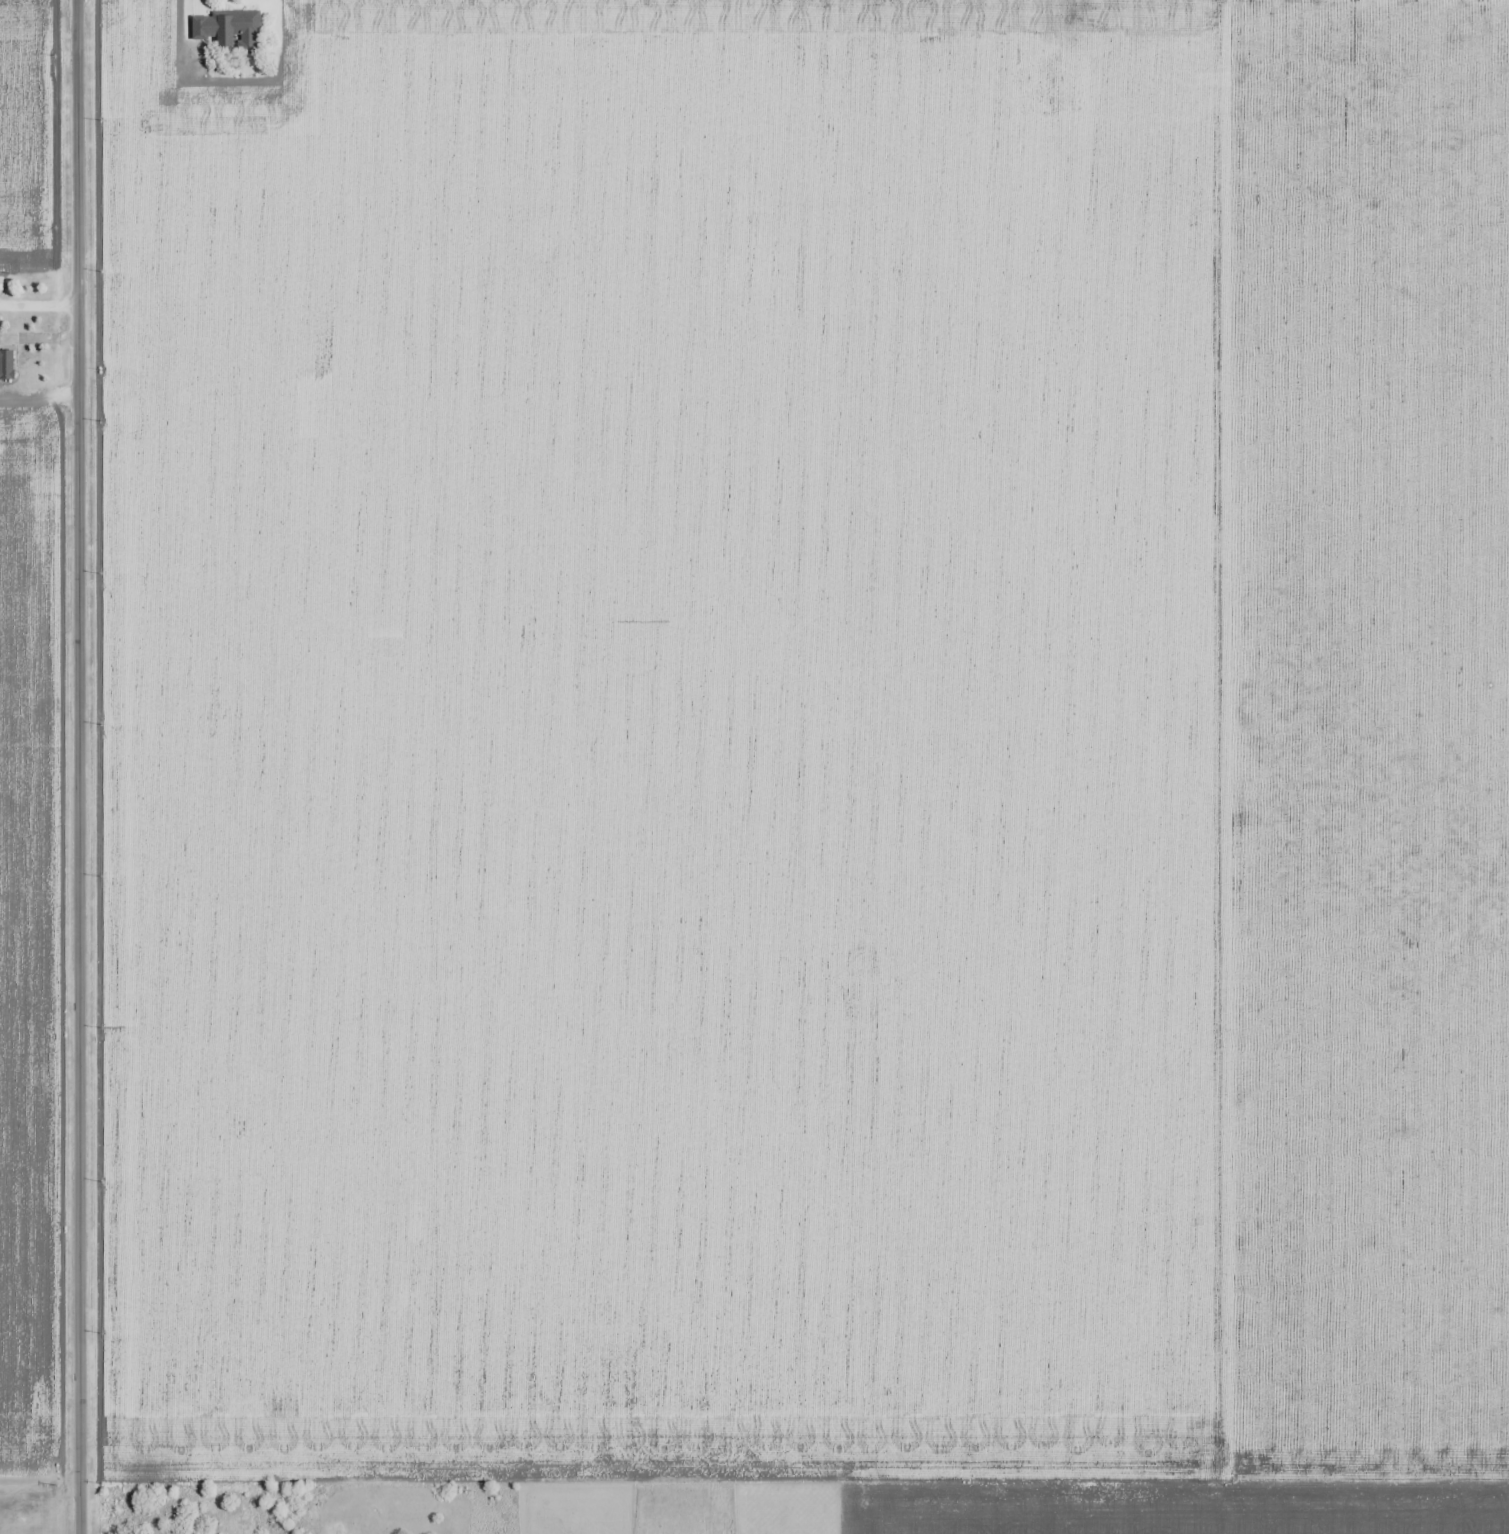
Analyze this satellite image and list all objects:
building: (239, 26)
building: (1, 284)
building: (7, 365)
road: (83, 767)

